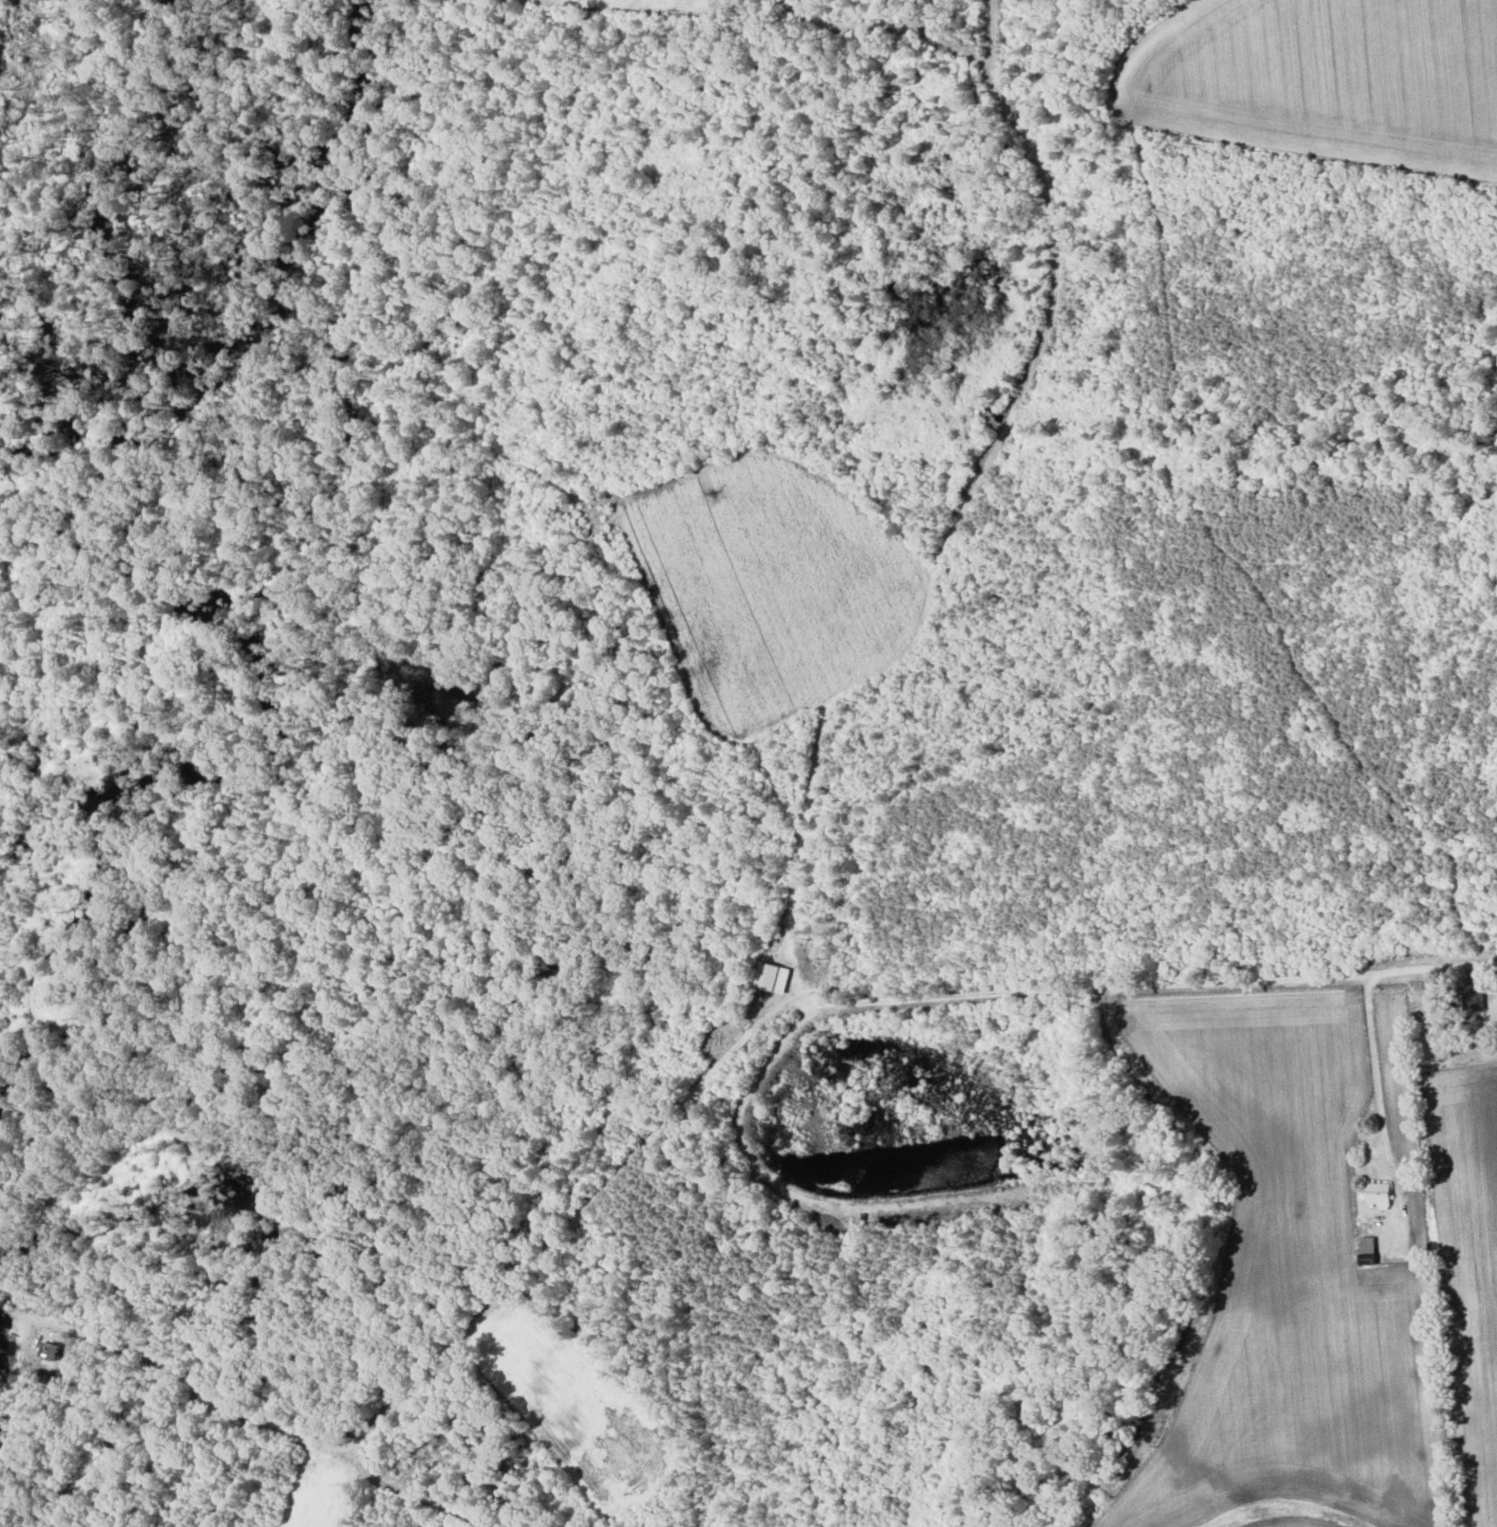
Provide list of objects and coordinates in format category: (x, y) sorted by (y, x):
building: (1379, 1194)

